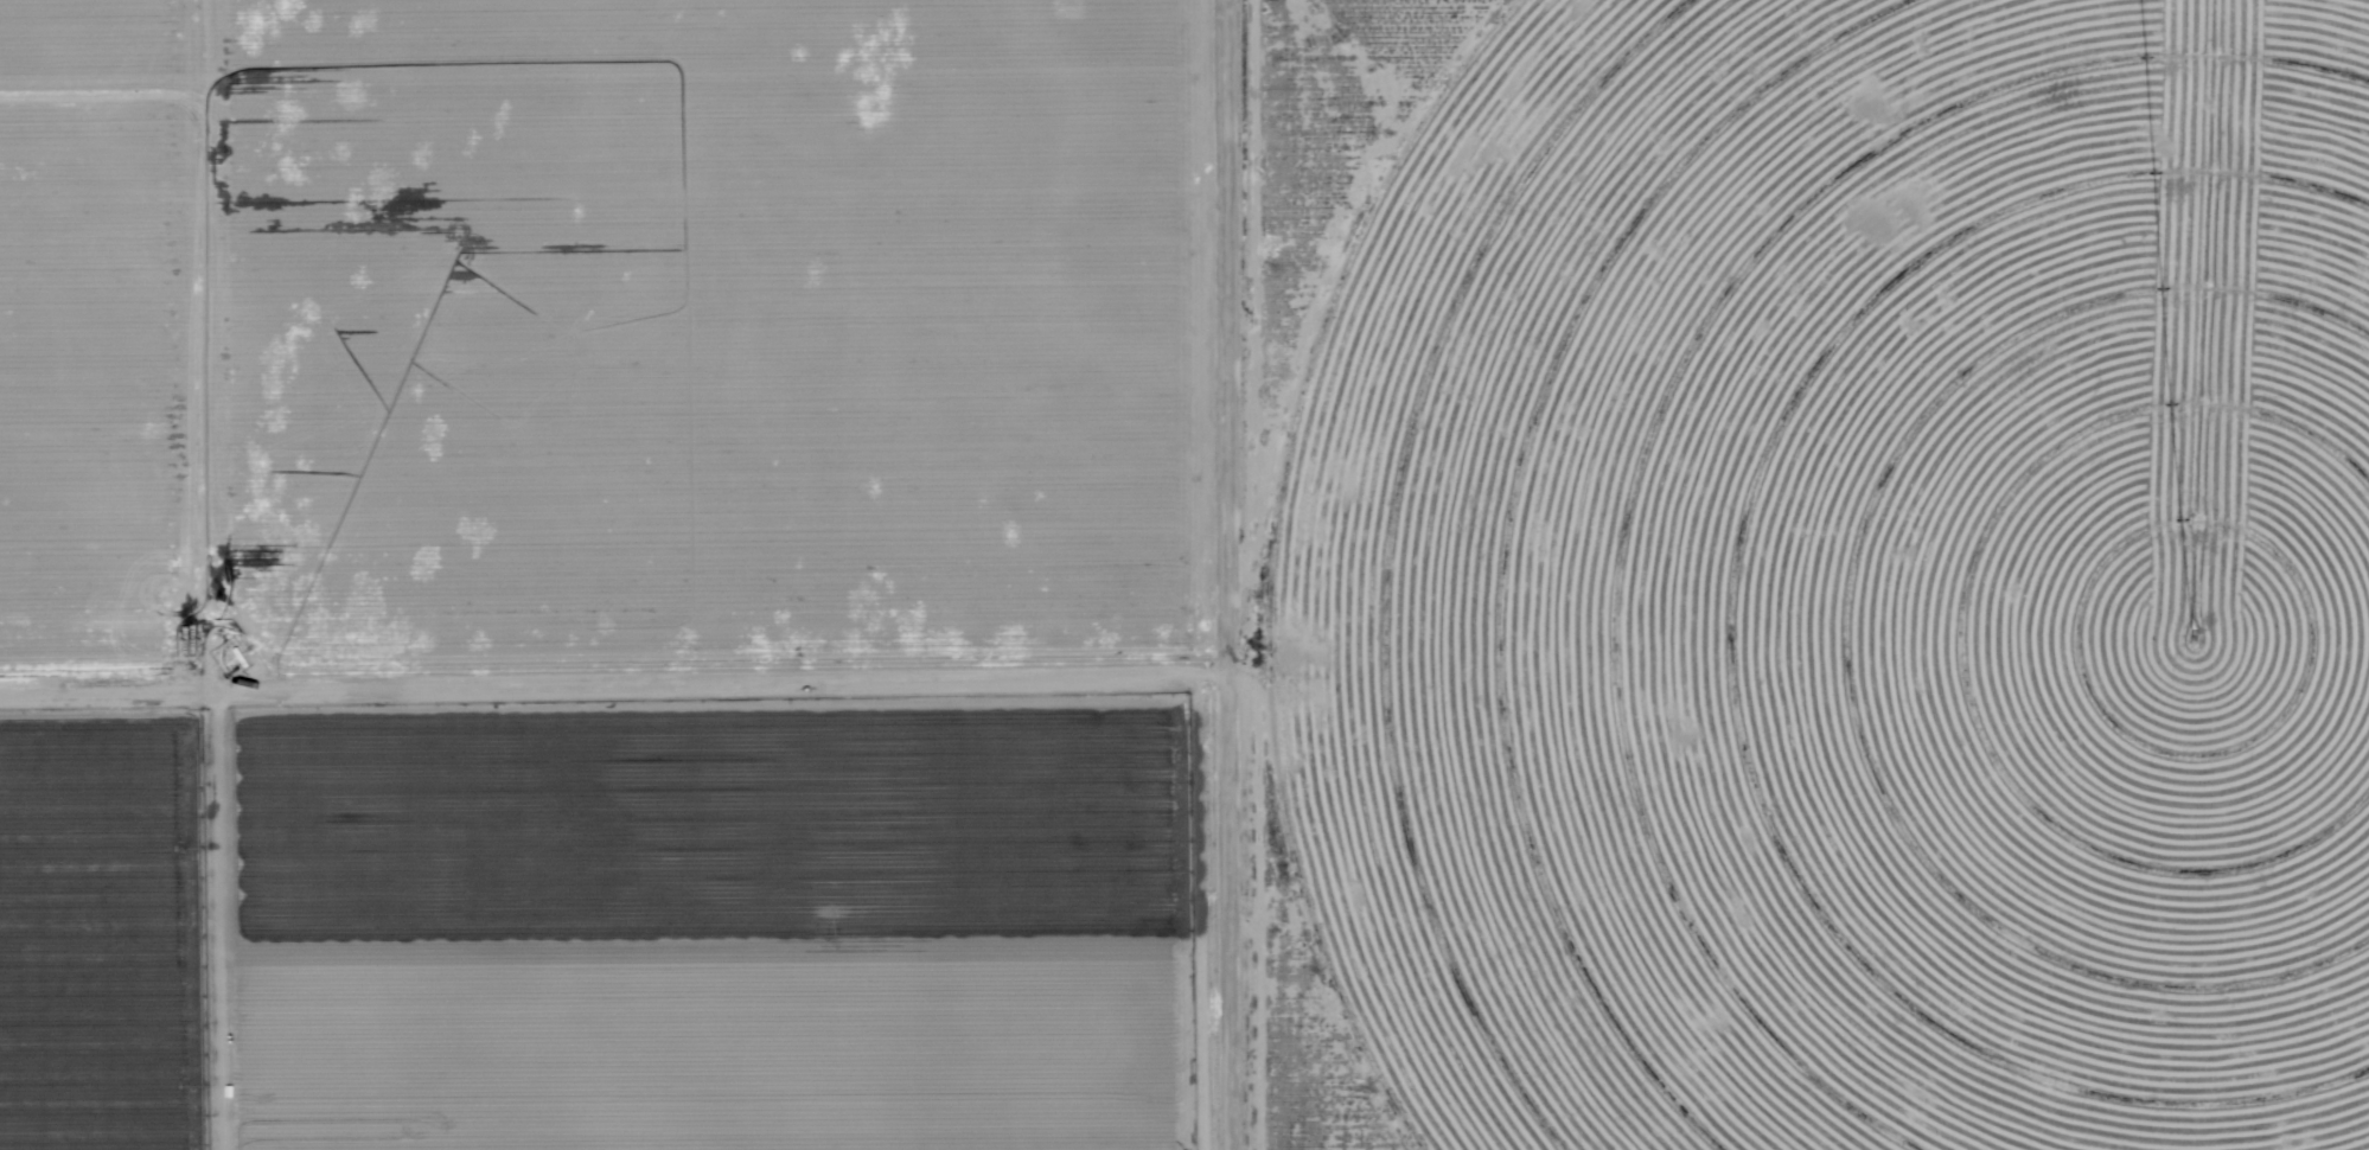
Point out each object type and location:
crop: (604, 575)
road: (1232, 575)
crop: (1852, 582)
road: (615, 678)

